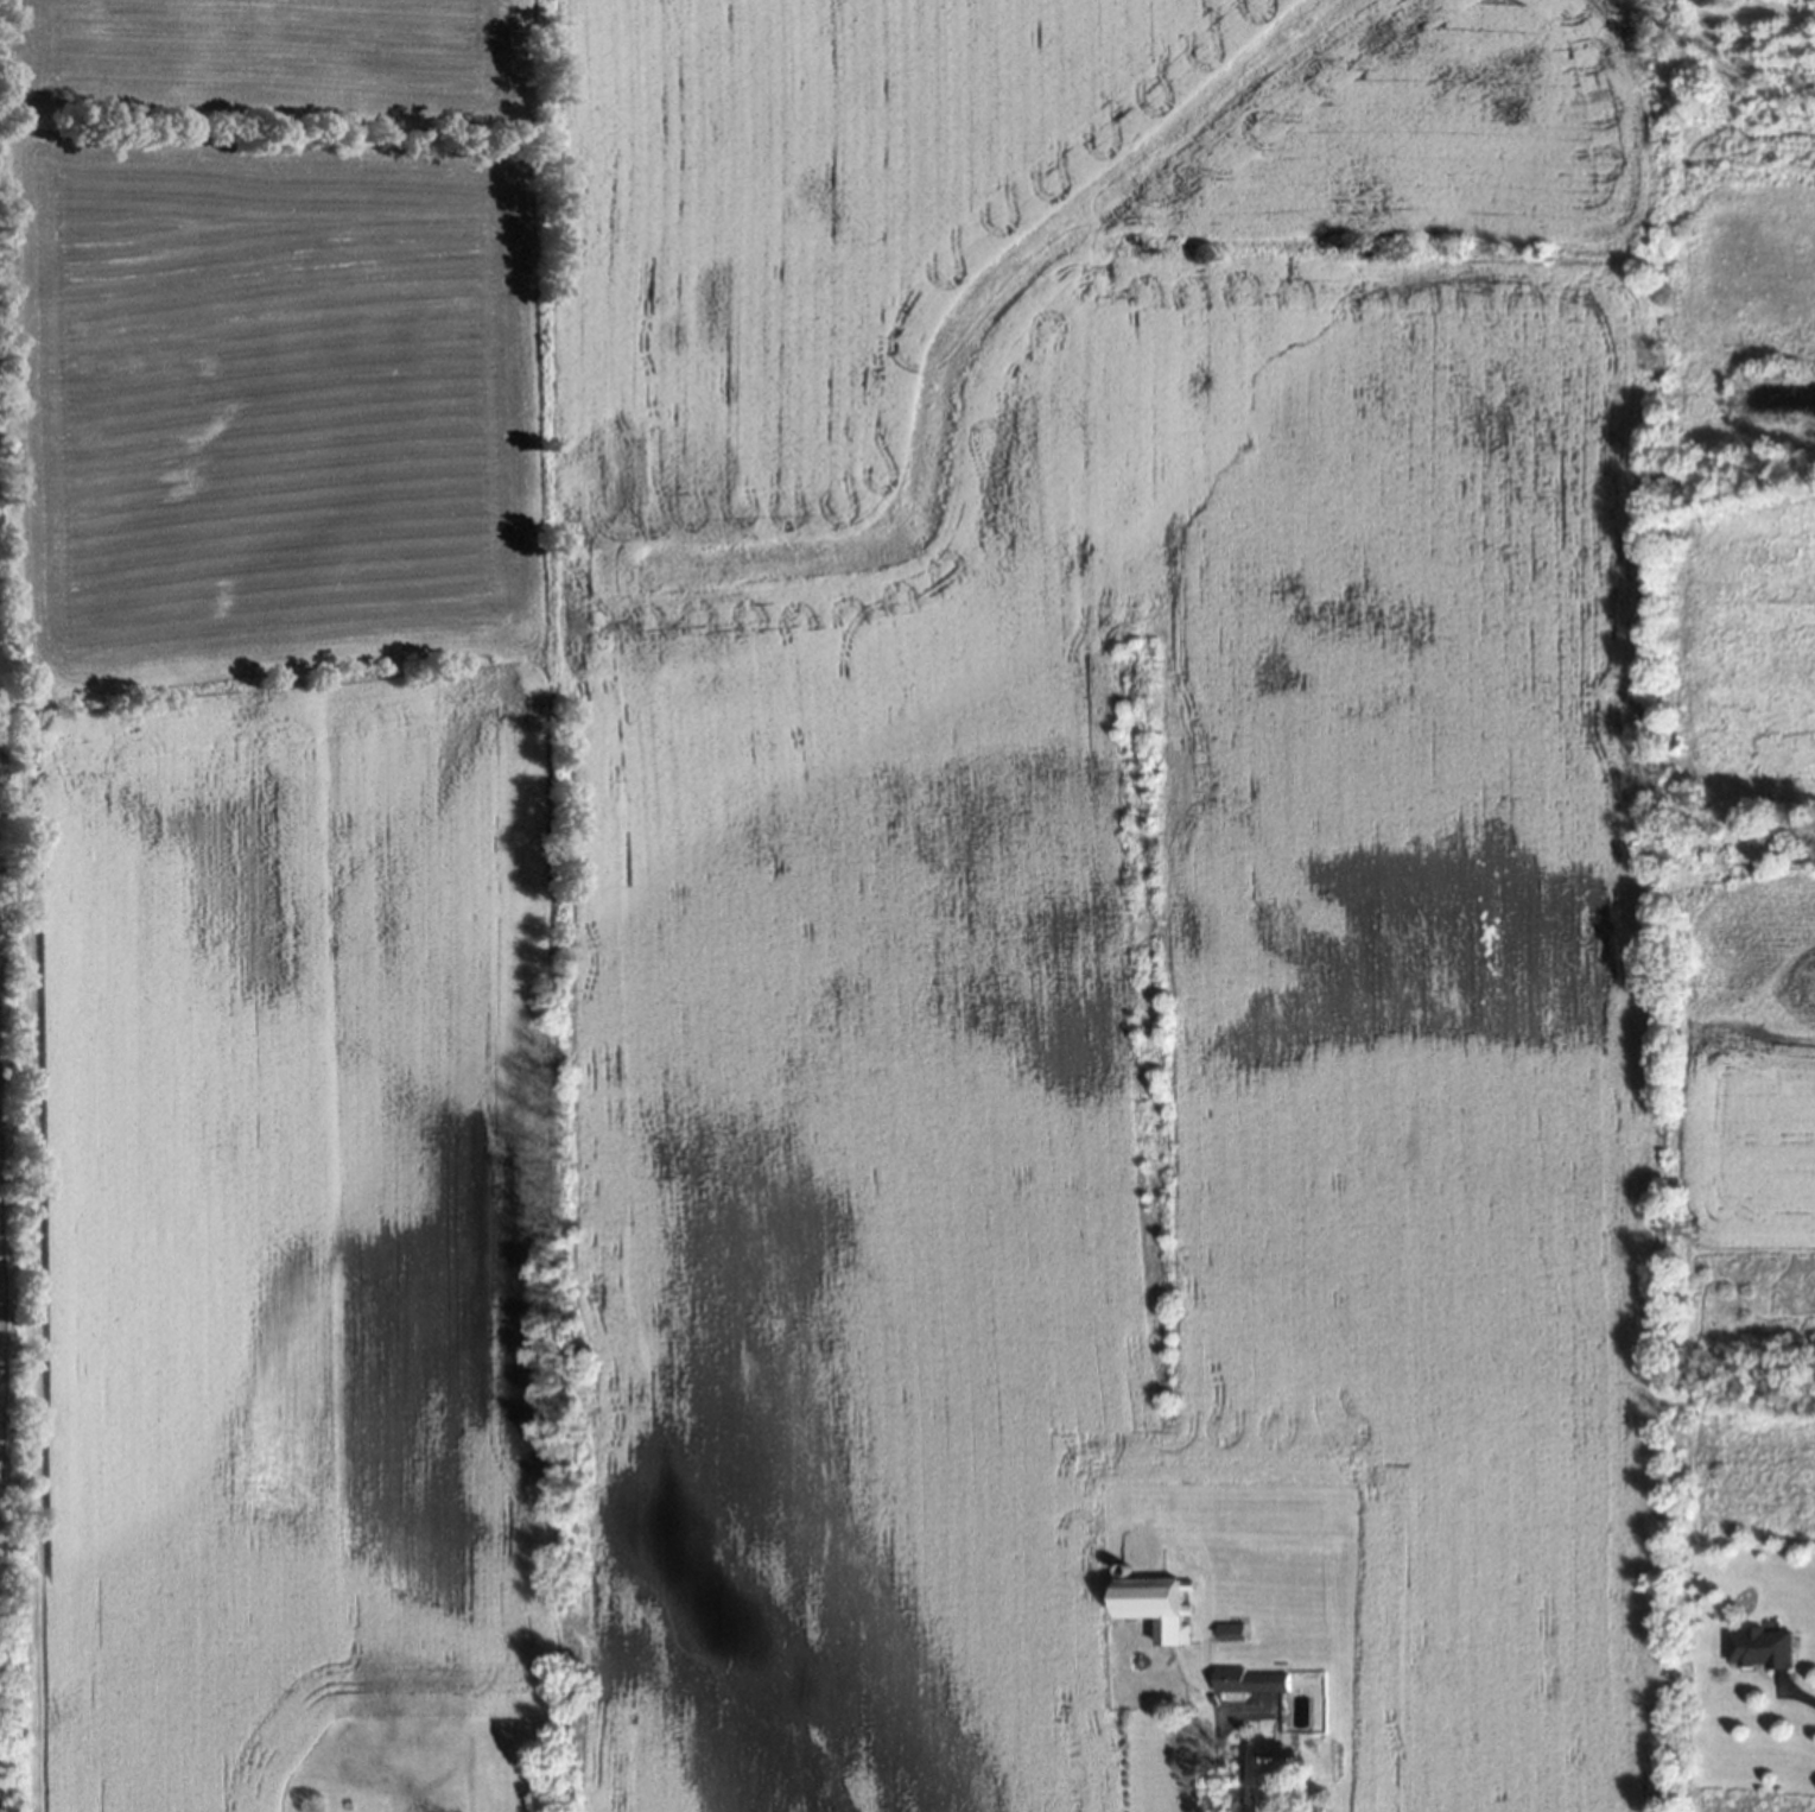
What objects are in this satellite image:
building: (1160, 1603)
building: (1759, 1646)
building: (1252, 1679)
road: (1810, 1700)
building: (407, 1750)
road: (1225, 1761)
building: (1275, 1765)

